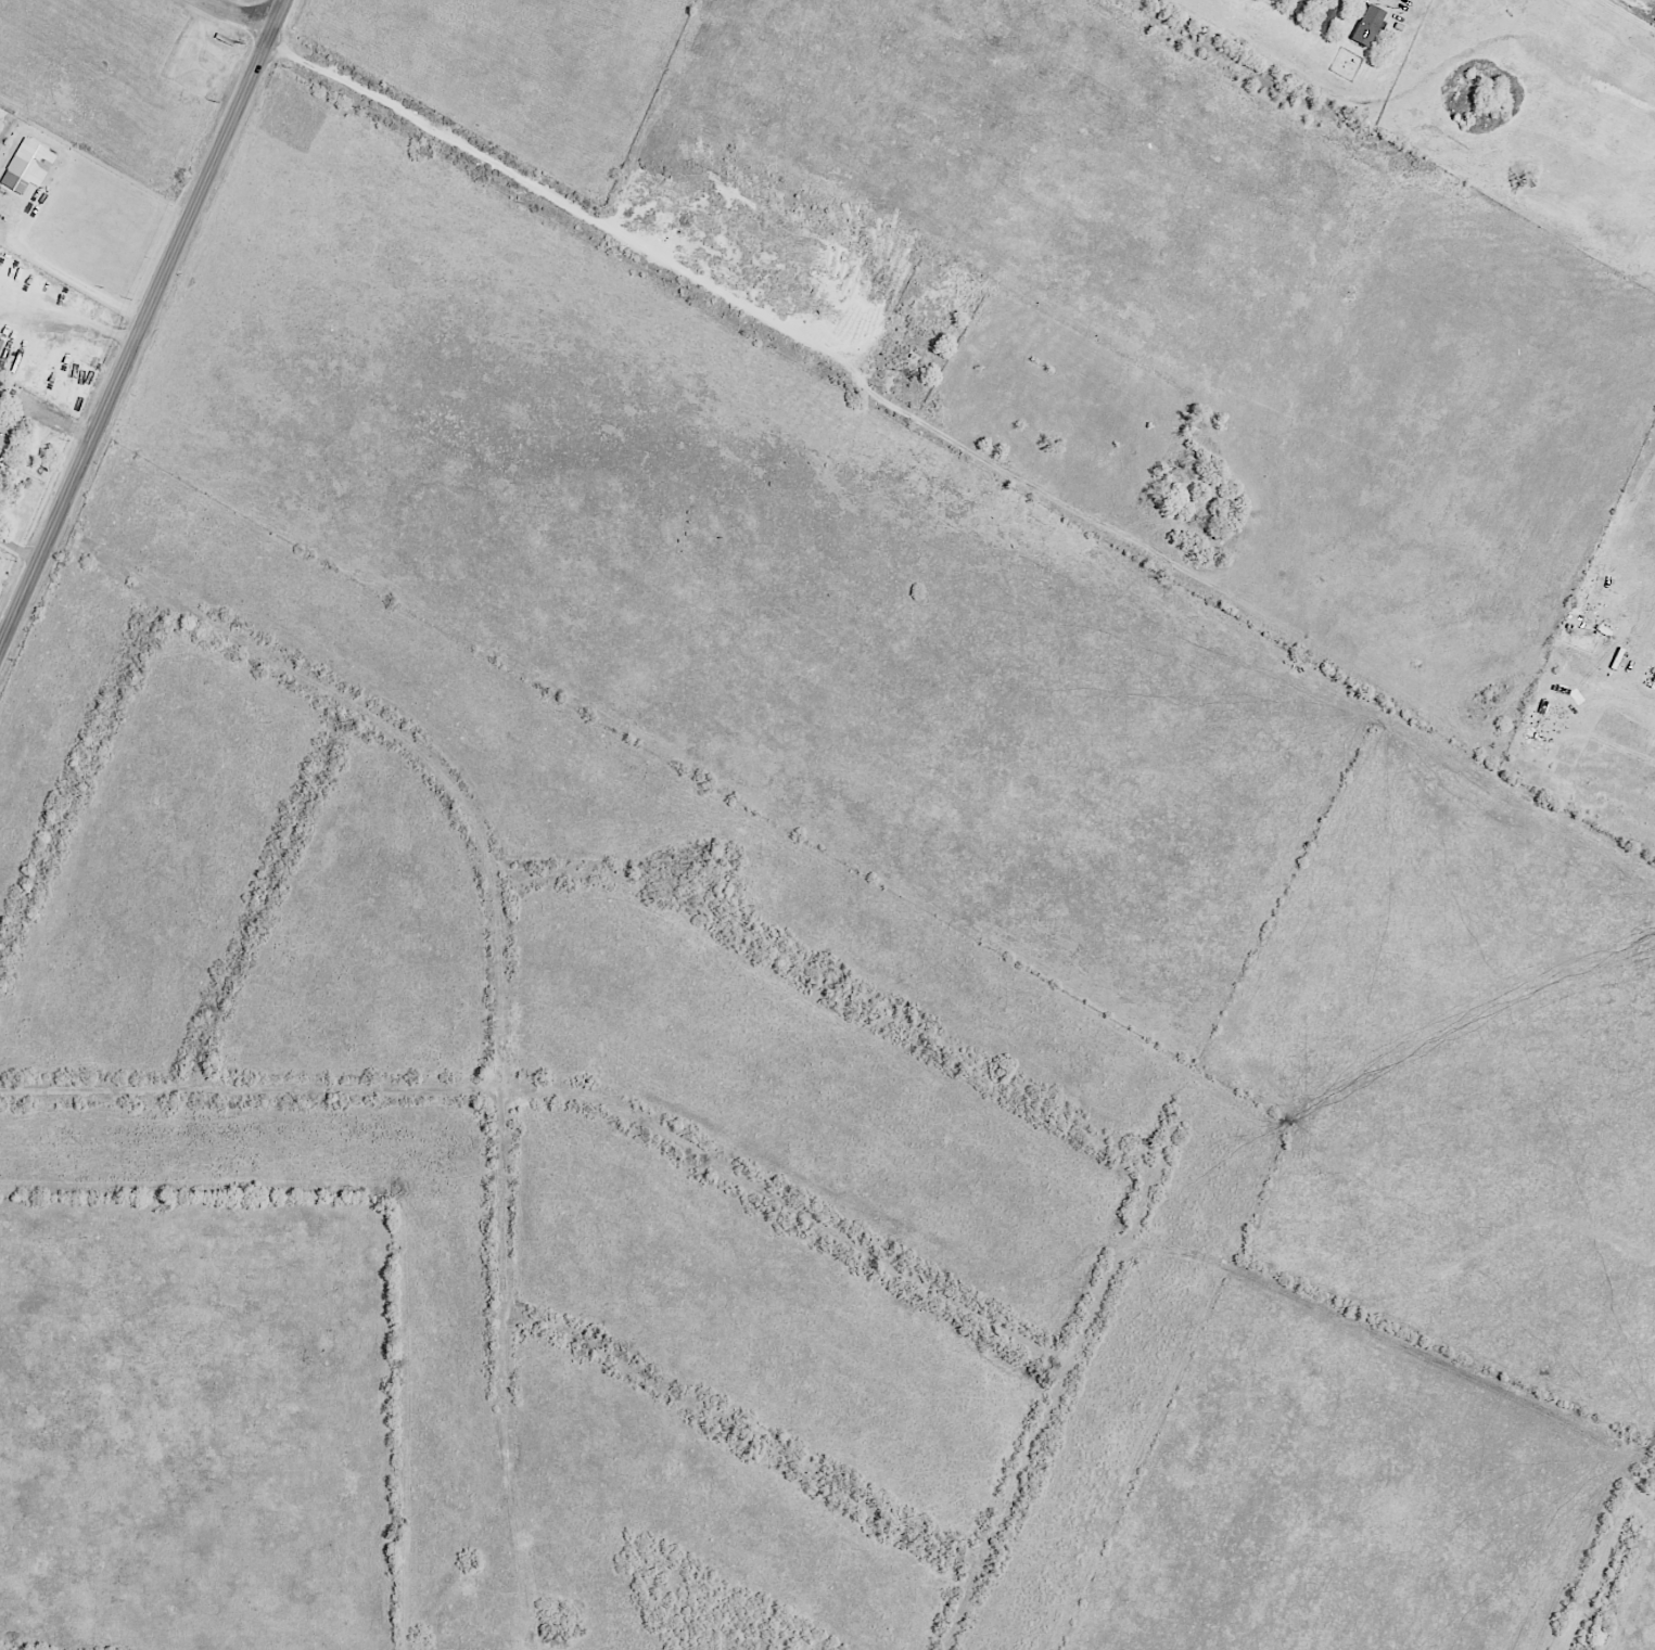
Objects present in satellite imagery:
road: (238, 17)
building: (1367, 26)
building: (27, 167)
road: (78, 281)
road: (143, 323)
road: (46, 410)
road: (14, 433)
building: (0, 449)
road: (18, 549)
road: (82, 773)
road: (493, 875)
road: (264, 895)
road: (838, 982)
road: (570, 1095)
road: (39, 1357)
road: (1064, 1380)
road: (294, 1390)
road: (746, 1436)
road: (138, 1460)
road: (129, 1522)
road: (511, 1540)
road: (59, 1576)

